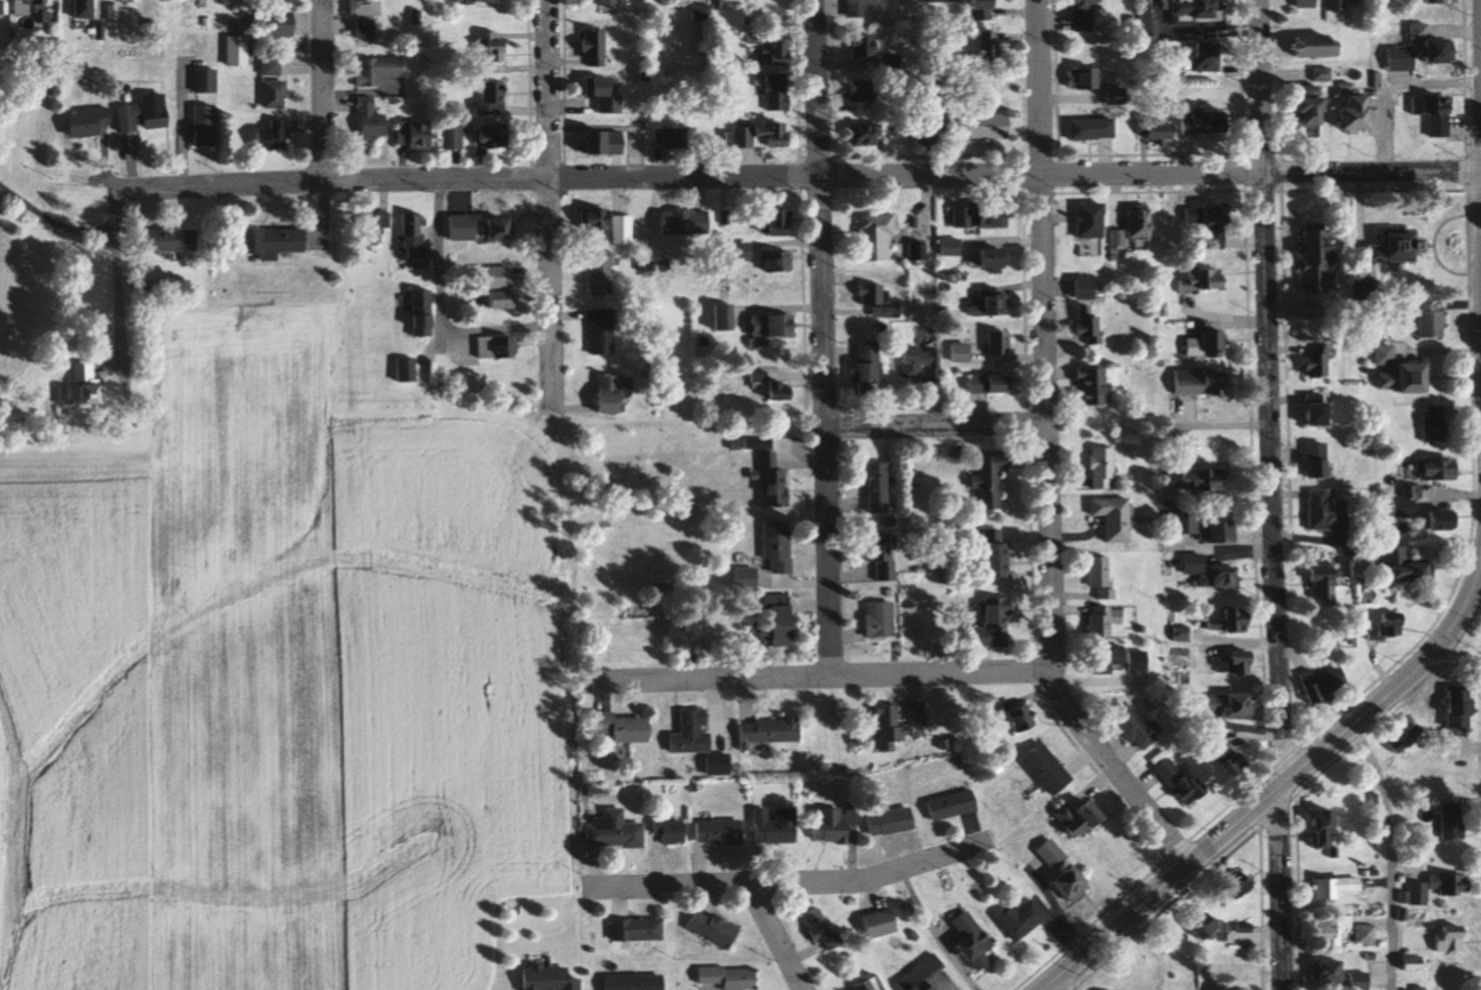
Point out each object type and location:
building: (945, 1)
building: (479, 2)
building: (1436, 2)
building: (1308, 4)
building: (611, 5)
building: (1339, 5)
building: (31, 7)
building: (365, 7)
building: (85, 9)
building: (862, 9)
building: (985, 9)
building: (1198, 11)
building: (1085, 16)
building: (283, 24)
building: (366, 29)
building: (597, 47)
building: (865, 47)
building: (989, 47)
building: (1320, 47)
building: (491, 48)
building: (1422, 50)
building: (238, 51)
building: (780, 54)
building: (1210, 57)
building: (892, 62)
building: (271, 68)
building: (377, 71)
building: (1325, 75)
building: (1088, 78)
building: (931, 79)
building: (207, 81)
road: (1478, 86)
building: (599, 88)
road: (326, 91)
building: (862, 92)
building: (780, 93)
building: (276, 95)
building: (493, 99)
building: (1315, 106)
building: (1364, 114)
building: (1435, 114)
building: (144, 118)
building: (372, 121)
building: (91, 123)
building: (1185, 125)
building: (208, 126)
building: (983, 127)
building: (1093, 129)
road: (179, 132)
building: (929, 133)
building: (417, 134)
building: (863, 135)
building: (762, 136)
building: (273, 137)
building: (454, 137)
building: (671, 137)
building: (493, 139)
building: (607, 143)
road: (796, 176)
road: (545, 200)
building: (982, 216)
building: (1093, 220)
building: (685, 222)
building: (1141, 222)
building: (1212, 222)
building: (378, 223)
building: (778, 223)
building: (607, 226)
building: (463, 228)
building: (502, 229)
building: (415, 236)
building: (878, 238)
building: (173, 241)
building: (275, 242)
building: (1405, 243)
building: (952, 248)
building: (778, 260)
building: (996, 260)
building: (1316, 262)
building: (603, 275)
building: (500, 277)
building: (1208, 280)
building: (1087, 289)
building: (500, 300)
building: (1000, 306)
road: (436, 307)
building: (424, 312)
building: (724, 318)
building: (1434, 321)
building: (772, 326)
building: (1094, 331)
building: (602, 332)
road: (822, 336)
building: (1001, 344)
building: (499, 347)
building: (963, 354)
building: (1386, 356)
building: (920, 363)
building: (1319, 363)
building: (870, 368)
building: (407, 370)
building: (1419, 379)
building: (1390, 382)
building: (1203, 383)
building: (90, 385)
building: (978, 385)
building: (1002, 385)
building: (1096, 386)
building: (772, 387)
building: (611, 394)
building: (1320, 411)
building: (1436, 424)
road: (936, 428)
road: (1047, 451)
building: (1320, 466)
building: (1106, 468)
building: (1444, 469)
building: (1202, 480)
building: (774, 482)
building: (993, 482)
building: (880, 488)
road: (1271, 494)
building: (1409, 504)
building: (1328, 513)
building: (1118, 518)
building: (1444, 521)
building: (1184, 523)
building: (1226, 533)
building: (780, 546)
building: (997, 555)
building: (885, 558)
building: (1196, 565)
building: (1407, 567)
building: (1104, 577)
building: (748, 578)
building: (1227, 578)
building: (1326, 586)
road: (1460, 613)
building: (782, 621)
building: (882, 621)
building: (1230, 621)
building: (999, 622)
building: (1104, 622)
building: (1391, 630)
building: (1110, 660)
building: (1234, 663)
road: (823, 672)
building: (1326, 685)
building: (1216, 704)
building: (1245, 707)
building: (1463, 710)
building: (918, 714)
building: (1022, 720)
building: (1137, 727)
building: (621, 728)
building: (891, 728)
building: (768, 732)
building: (695, 735)
building: (1230, 758)
building: (1048, 769)
building: (1183, 784)
building: (952, 806)
building: (1081, 819)
building: (1444, 820)
building: (891, 822)
road: (1235, 822)
building: (831, 825)
building: (775, 826)
building: (1325, 829)
building: (615, 831)
building: (670, 831)
building: (720, 832)
road: (1388, 853)
building: (1065, 871)
road: (790, 884)
building: (1227, 884)
building: (1328, 886)
building: (1428, 887)
building: (1022, 919)
building: (881, 922)
building: (1193, 926)
building: (820, 927)
building: (712, 928)
building: (1322, 928)
building: (637, 929)
building: (1358, 933)
building: (1441, 937)
road: (776, 938)
building: (973, 941)
building: (1401, 962)
building: (1318, 970)
building: (730, 977)
building: (550, 978)
building: (1352, 980)
building: (636, 982)
building: (866, 985)
road: (1059, 985)
building: (1218, 989)

